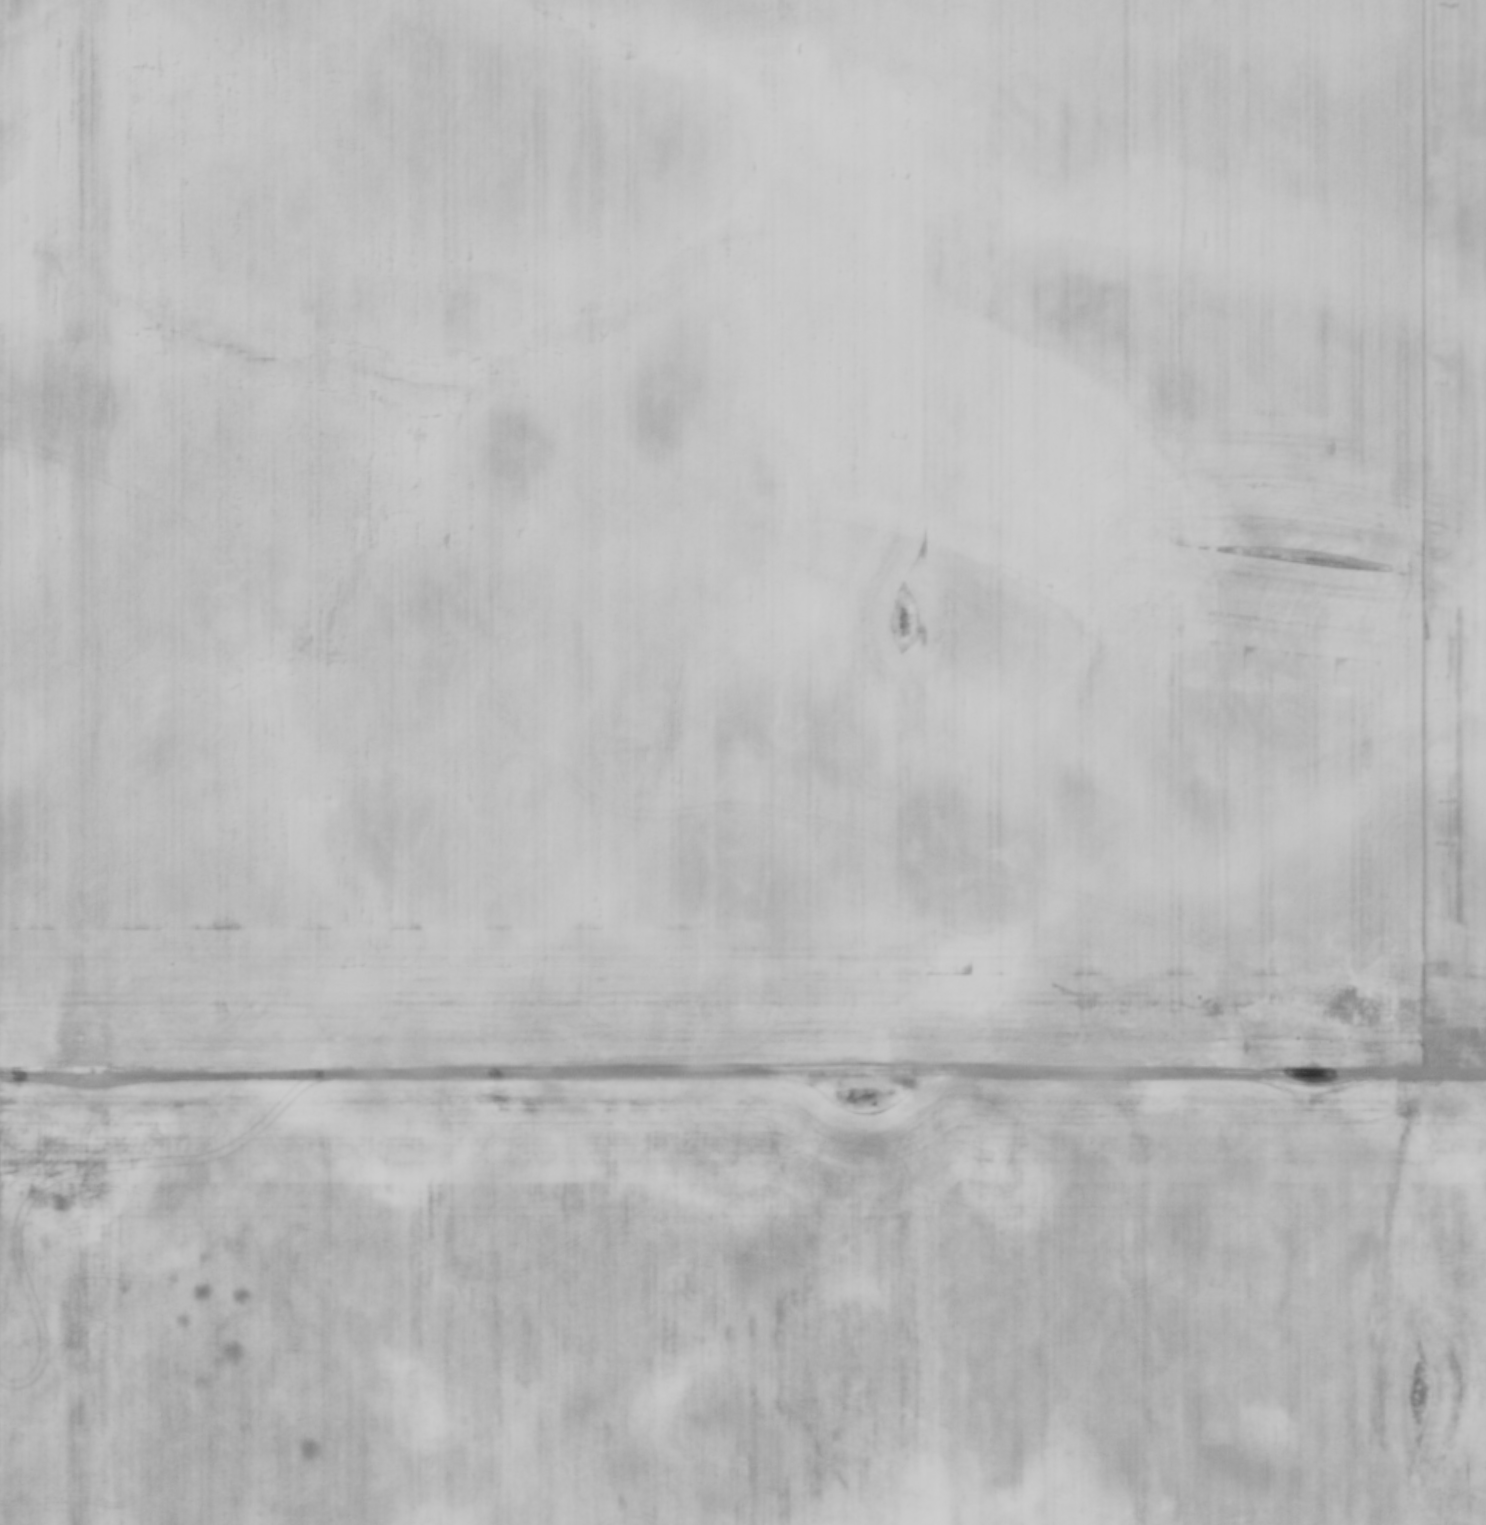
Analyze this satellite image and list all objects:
road: (742, 1072)

